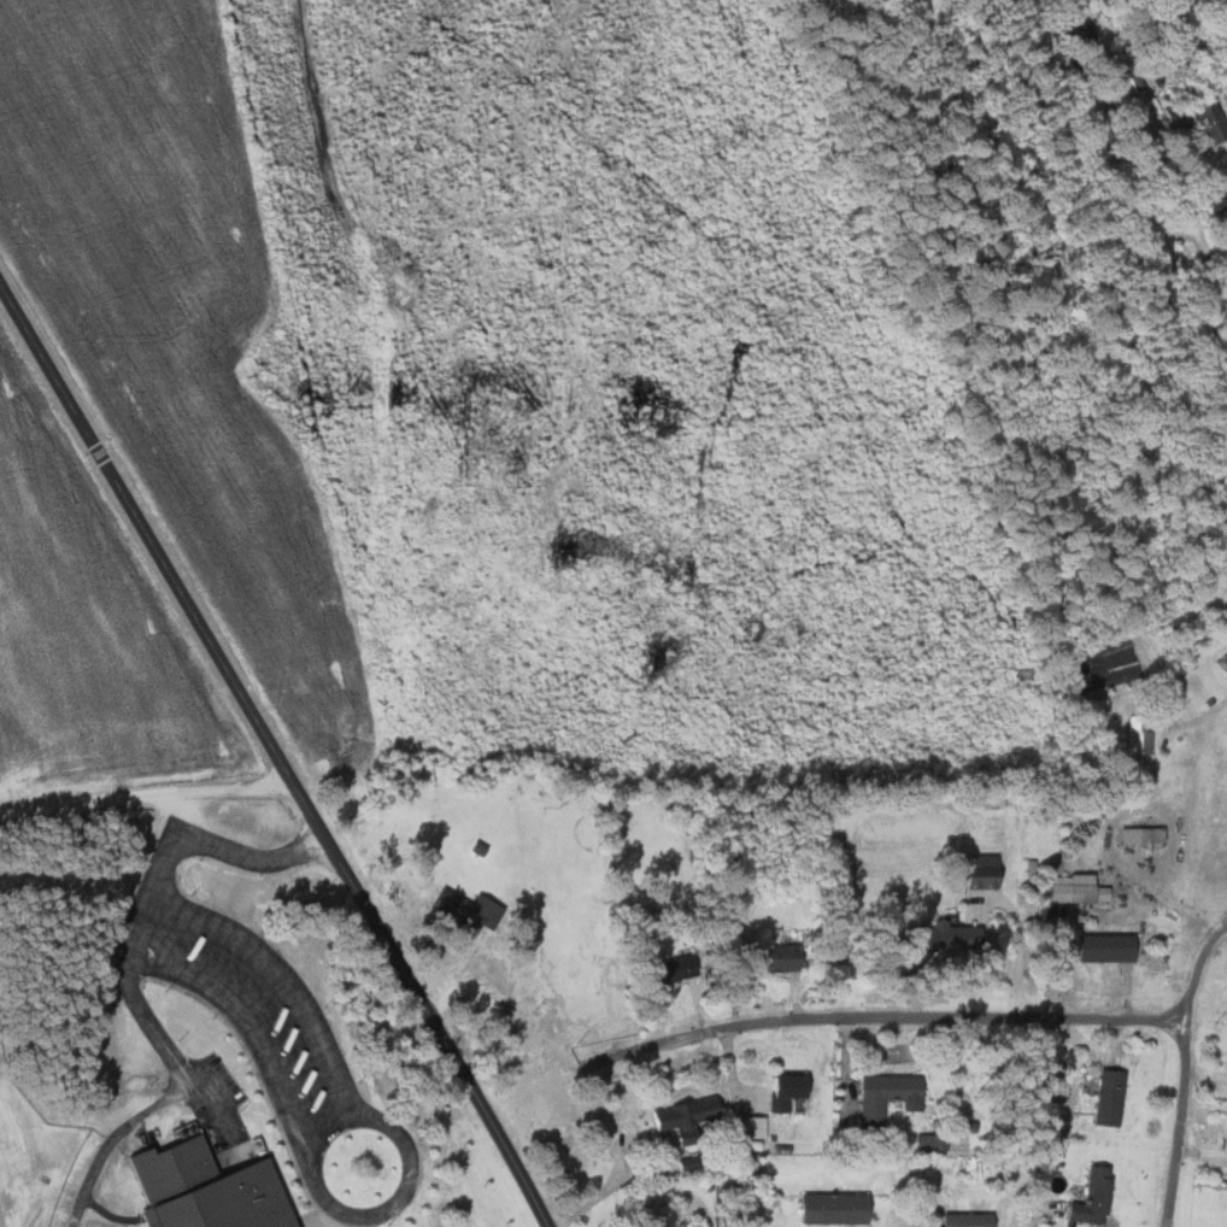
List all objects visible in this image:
building: (1213, 122)
building: (1217, 201)
building: (1225, 673)
road: (1204, 710)
building: (1141, 734)
road: (274, 755)
road: (145, 794)
building: (1146, 834)
building: (986, 873)
building: (1074, 888)
building: (474, 908)
building: (946, 937)
building: (1110, 949)
road: (141, 952)
building: (777, 958)
building: (662, 969)
building: (680, 969)
road: (274, 986)
road: (888, 1017)
road: (171, 1051)
road: (1186, 1070)
building: (792, 1094)
building: (888, 1096)
building: (1112, 1096)
building: (850, 1111)
building: (689, 1117)
building: (755, 1127)
road: (331, 1129)
road: (115, 1138)
building: (927, 1140)
building: (1226, 1152)
building: (1046, 1156)
building: (694, 1163)
building: (215, 1190)
road: (603, 1194)
building: (1097, 1197)
road: (395, 1202)
building: (839, 1209)
building: (971, 1220)

